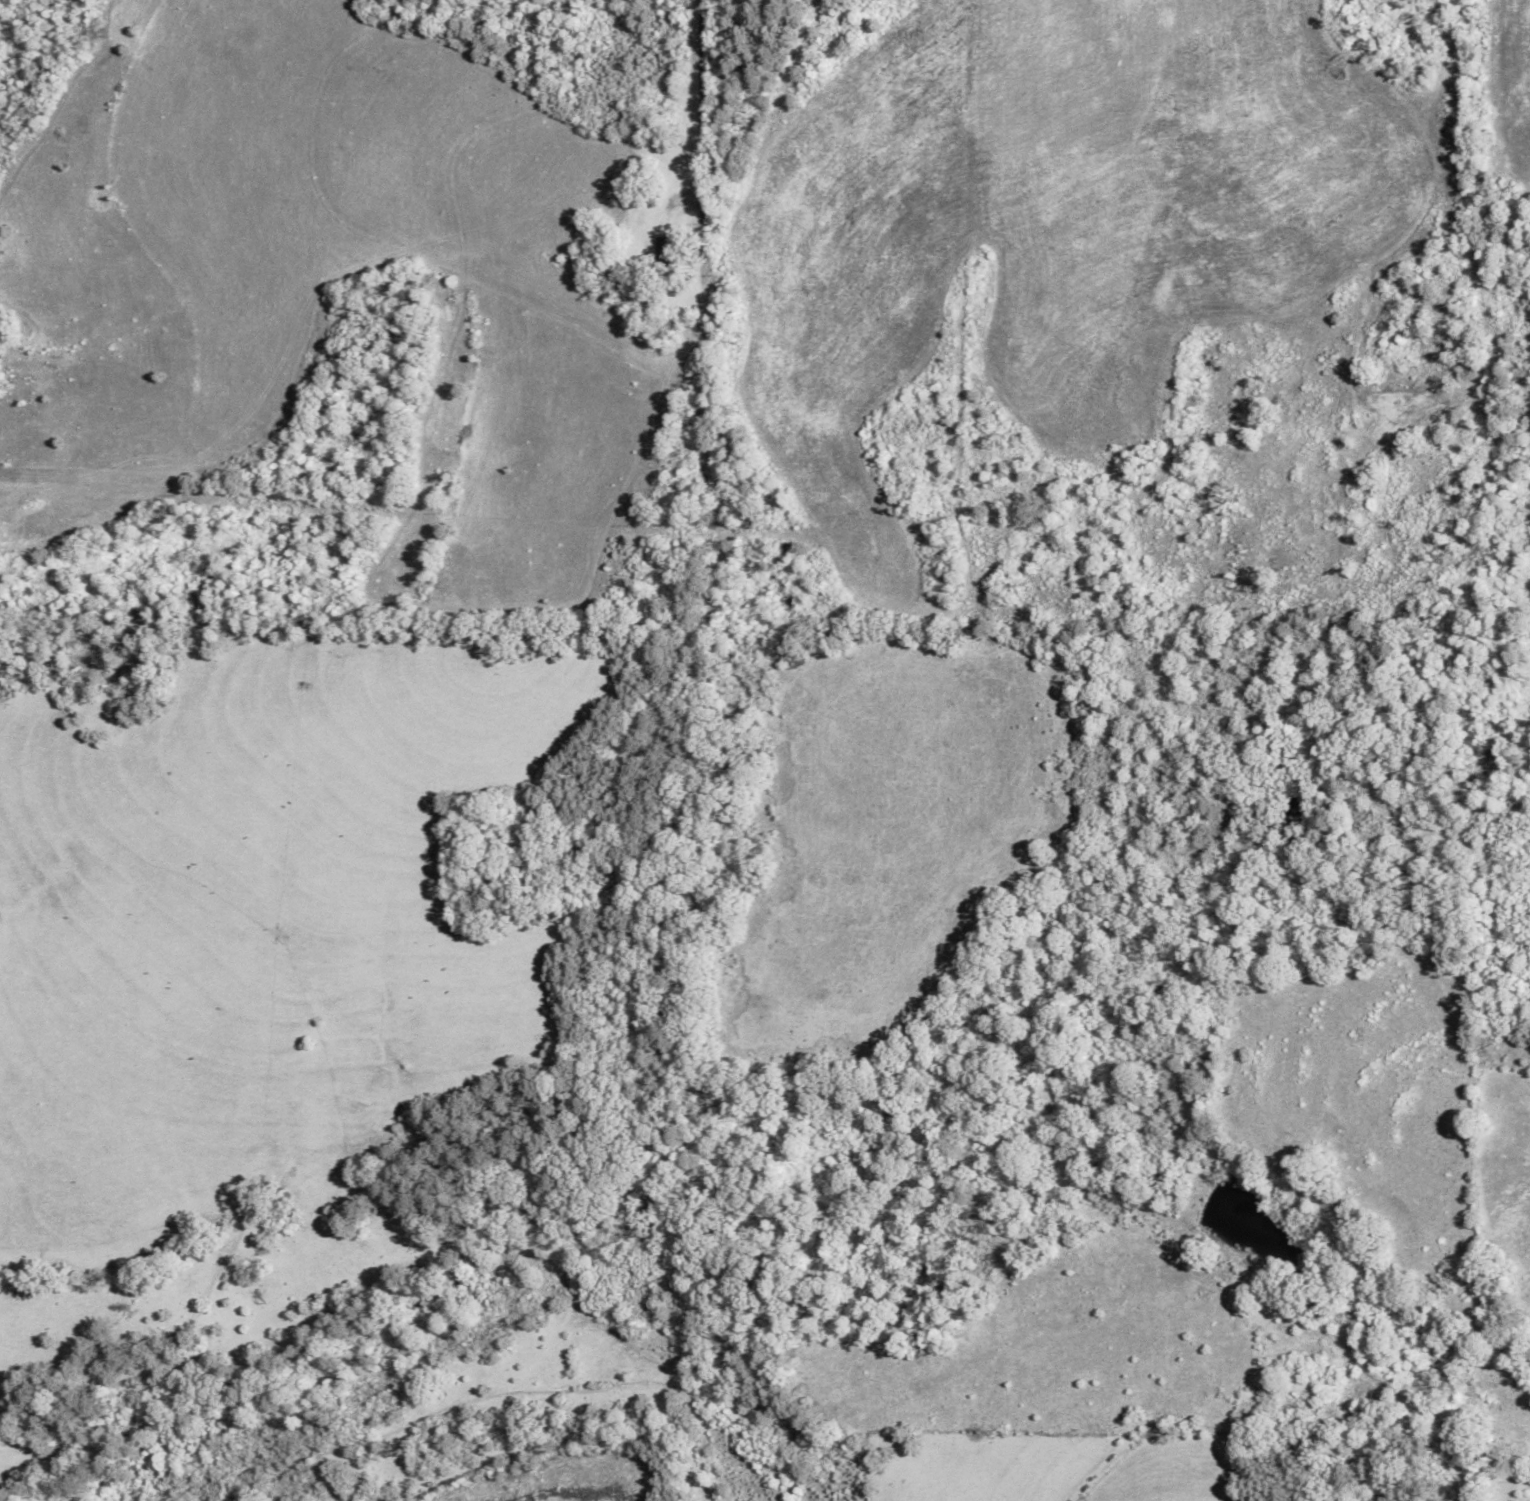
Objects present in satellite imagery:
building: (665, 252)
road: (711, 461)
building: (1512, 1500)

